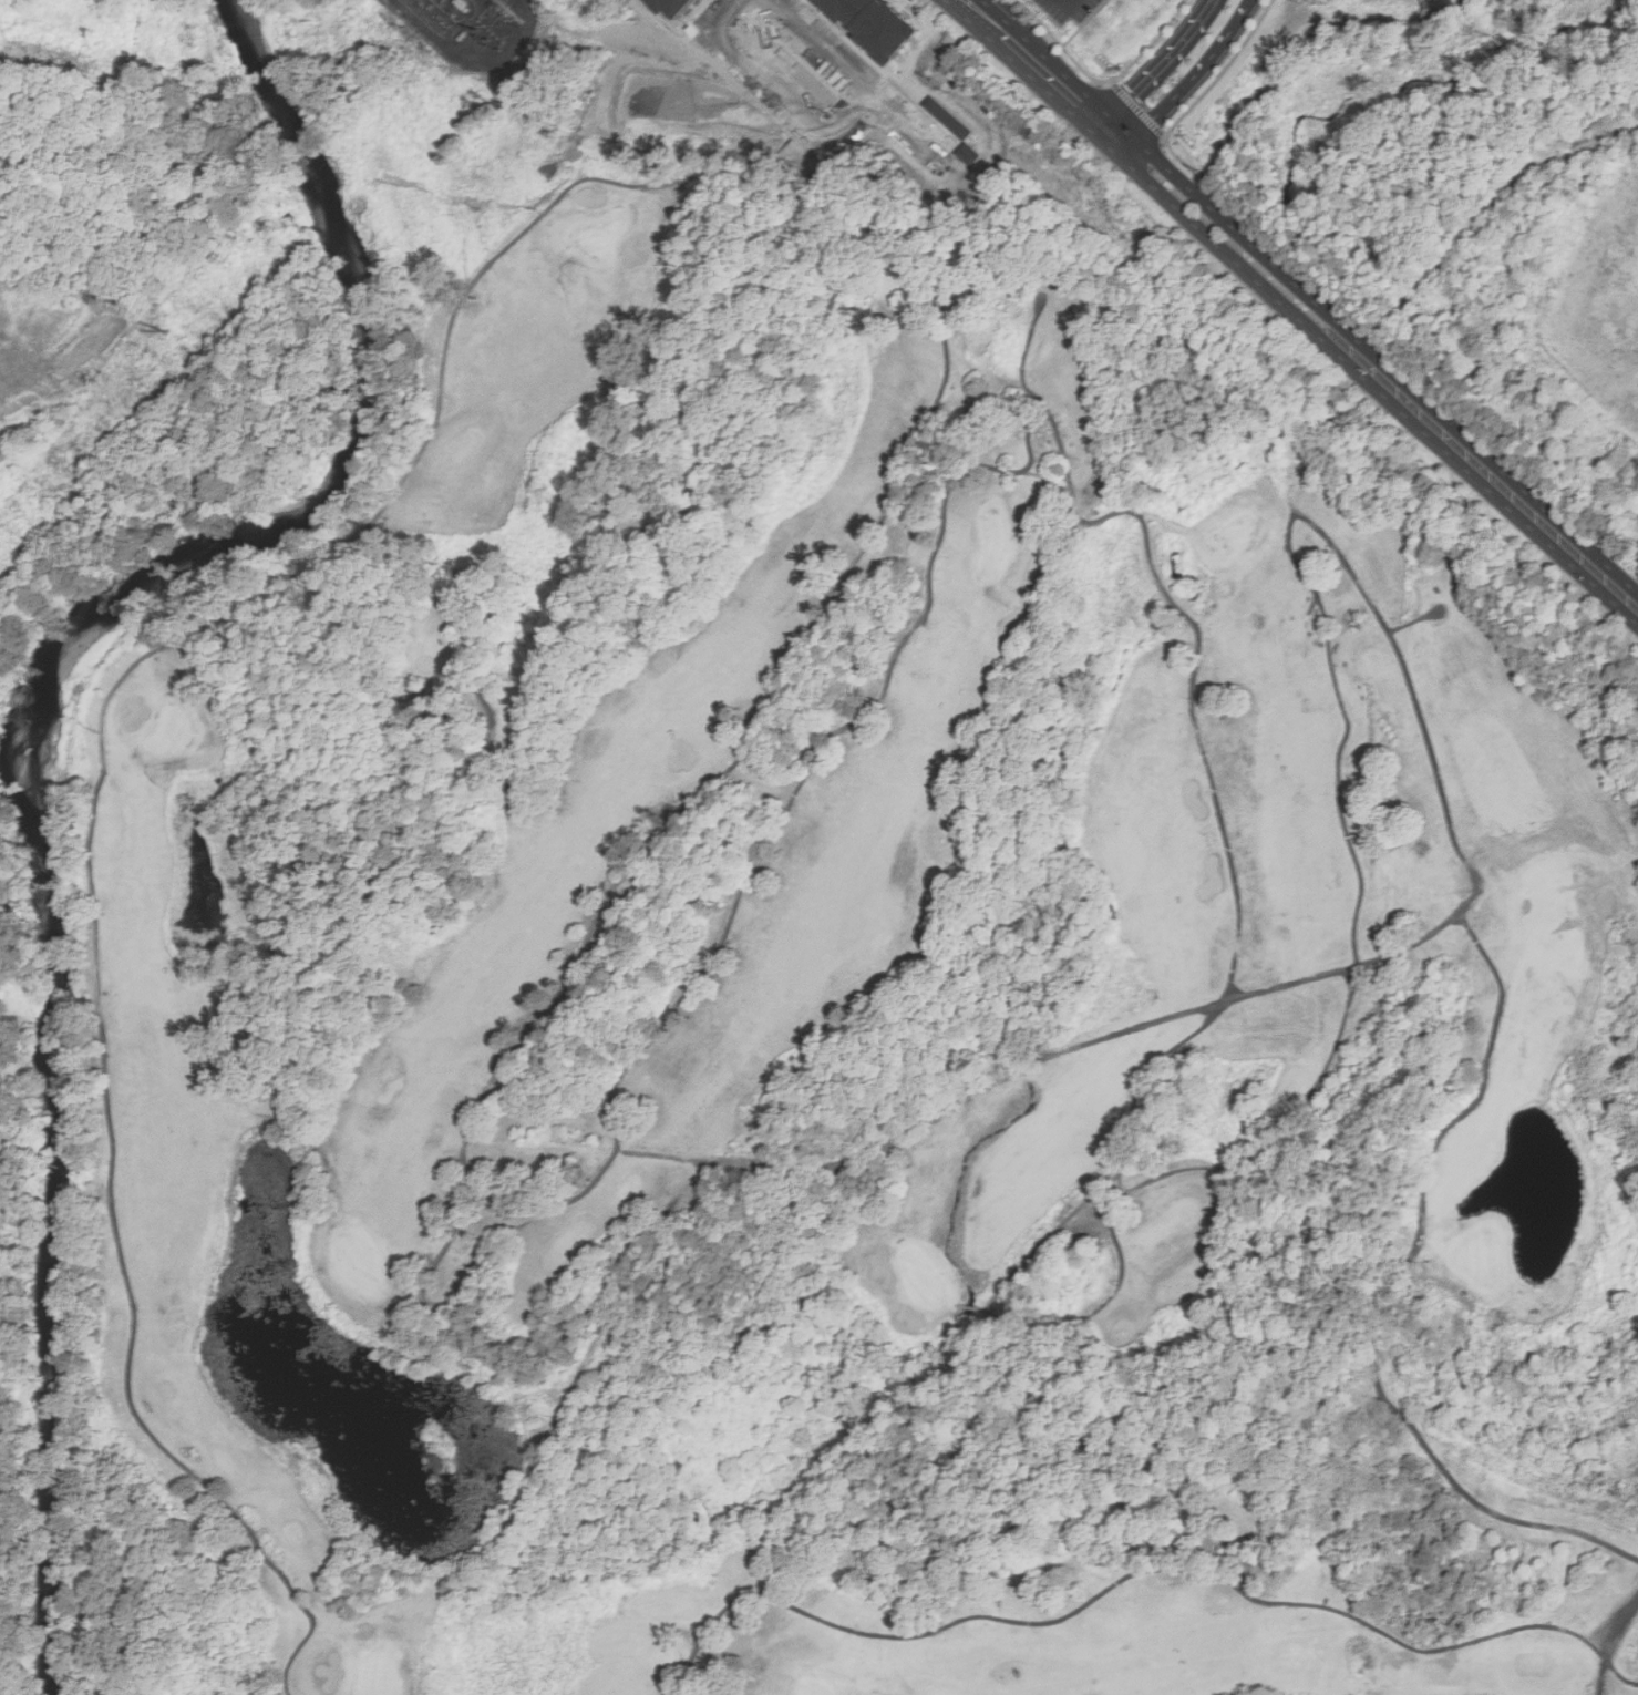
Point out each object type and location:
building: (674, 7)
road: (1001, 12)
road: (968, 20)
building: (874, 23)
power substation: (488, 29)
road: (816, 42)
road: (1157, 70)
road: (1101, 80)
road: (1191, 82)
road: (1043, 86)
road: (772, 95)
road: (1203, 95)
road: (893, 112)
river: (287, 117)
road: (1576, 143)
building: (3, 157)
road: (1470, 176)
road: (1186, 183)
park: (599, 236)
park: (1473, 237)
road: (1219, 245)
road: (939, 411)
road: (1493, 476)
road: (1320, 524)
park: (1232, 537)
park: (993, 542)
road: (1178, 608)
park: (174, 729)
river: (39, 862)
road: (1628, 901)
road: (1240, 902)
park: (847, 1005)
road: (1041, 1062)
road: (1119, 1170)
park: (1479, 1257)
park: (360, 1264)
park: (924, 1278)
road: (462, 1290)
building: (542, 1419)
road: (1141, 1573)
road: (1606, 1644)
park: (378, 1674)
park: (813, 1689)

